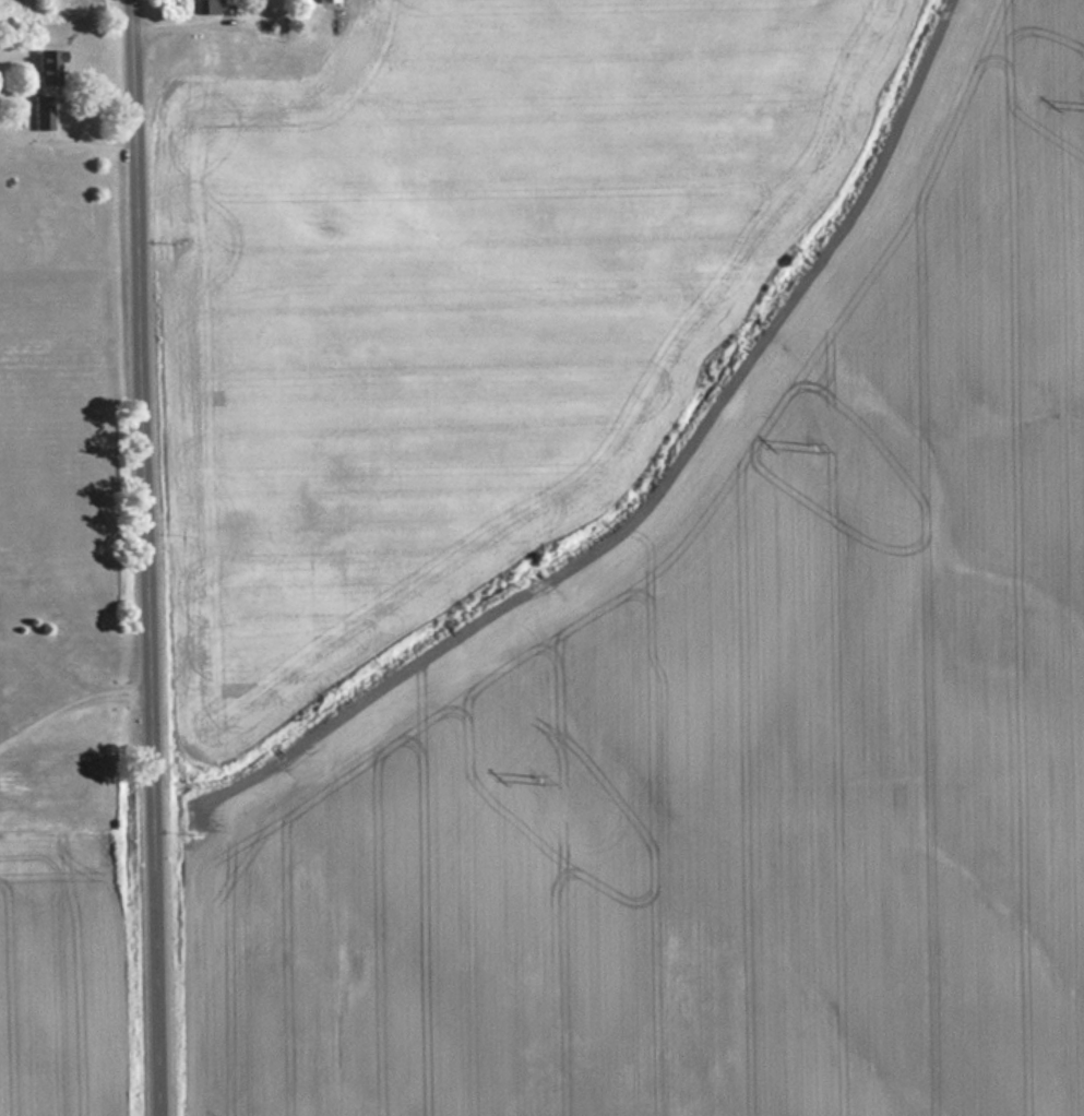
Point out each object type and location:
building: (326, 2)
building: (203, 8)
building: (47, 84)
power tower: (820, 449)
road: (142, 558)
road: (67, 703)
power tower: (537, 779)

